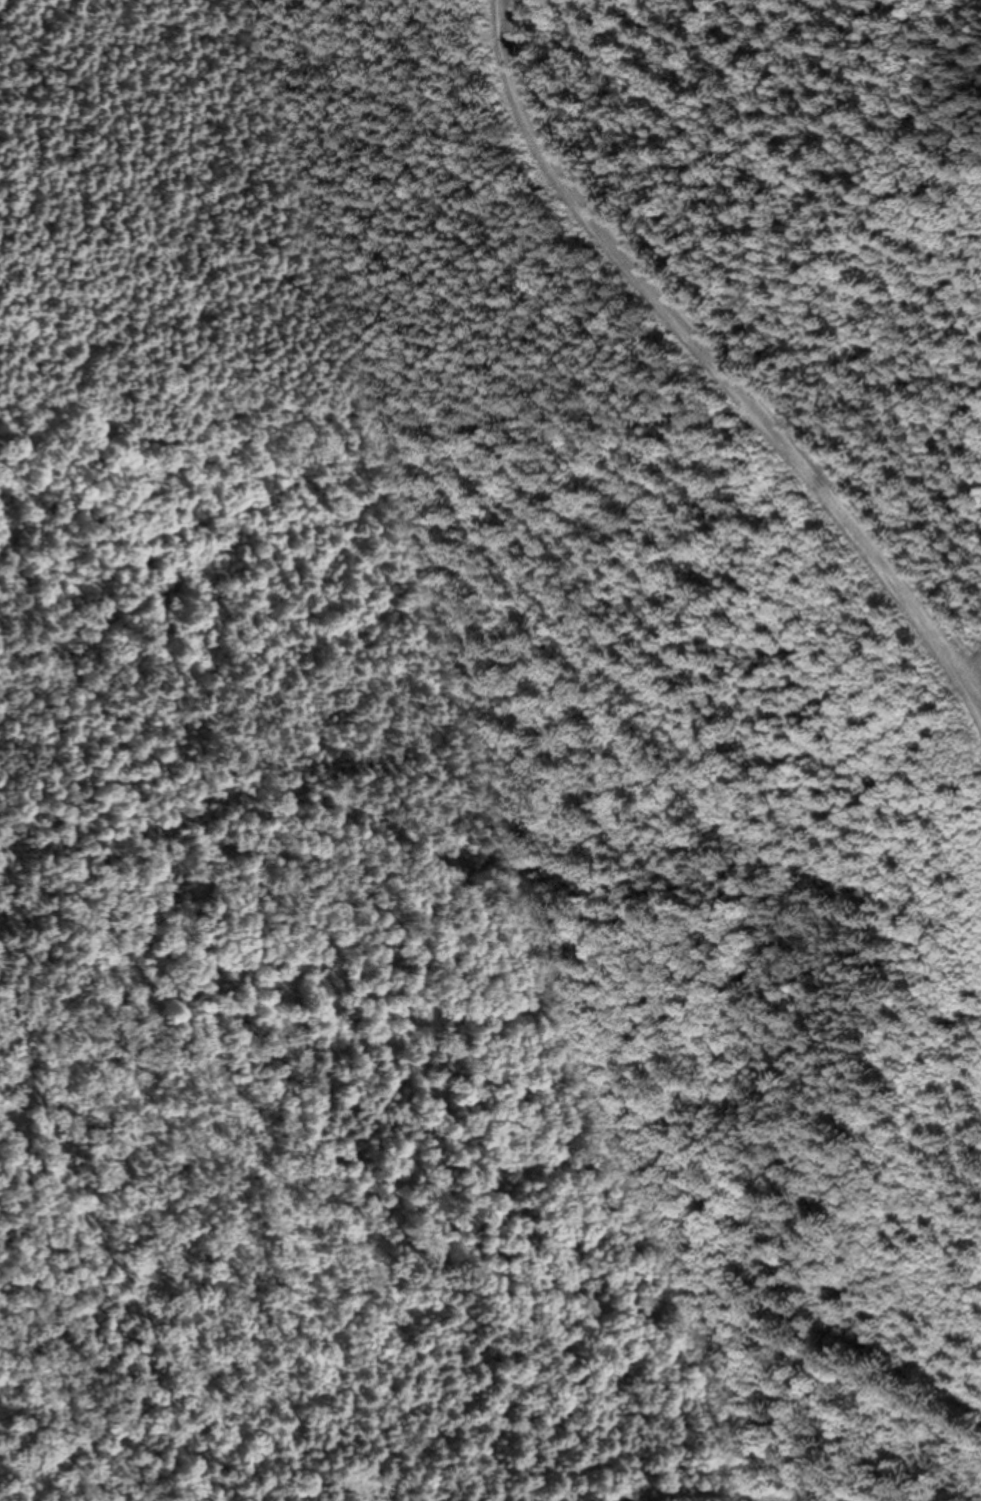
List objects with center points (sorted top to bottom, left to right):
road: (713, 356)

